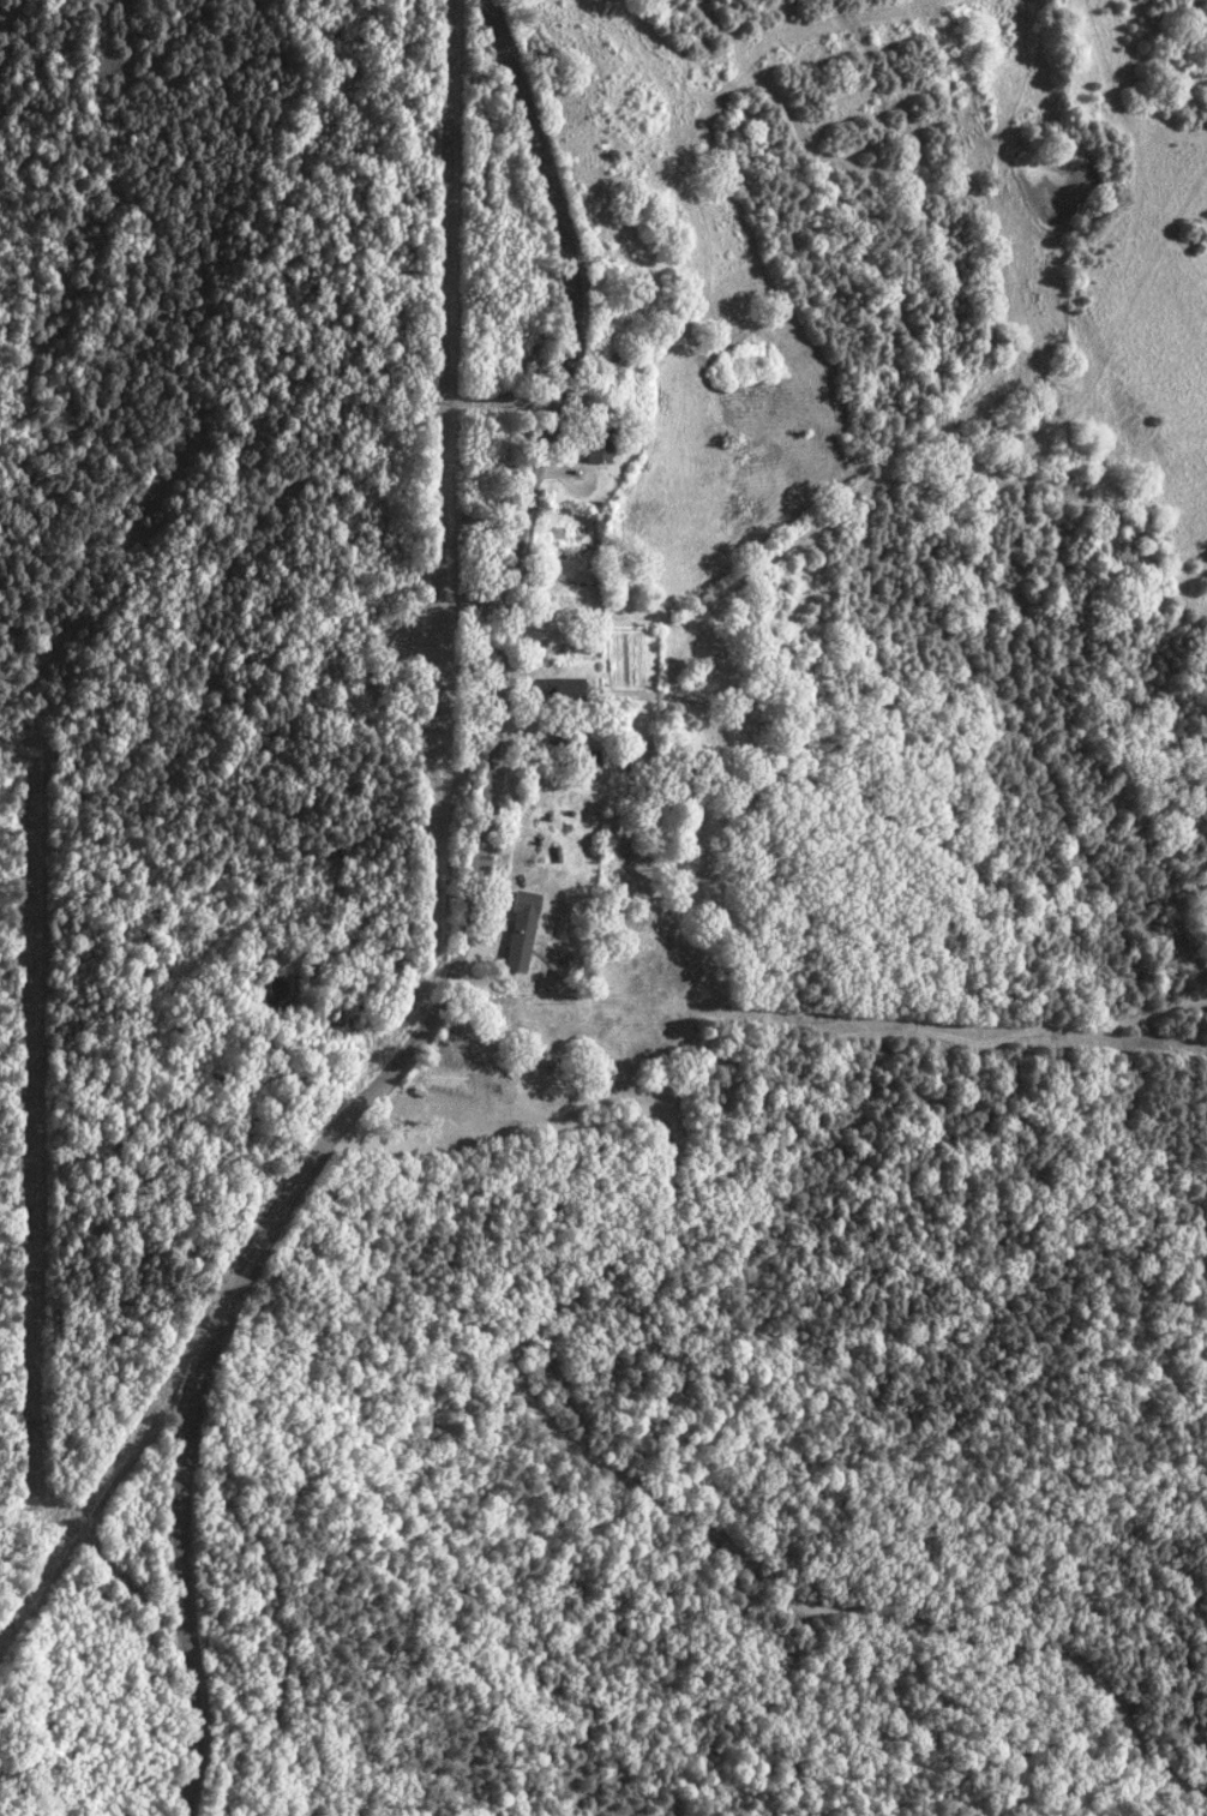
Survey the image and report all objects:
building: (598, 449)
building: (562, 688)
building: (521, 930)
road: (462, 937)

